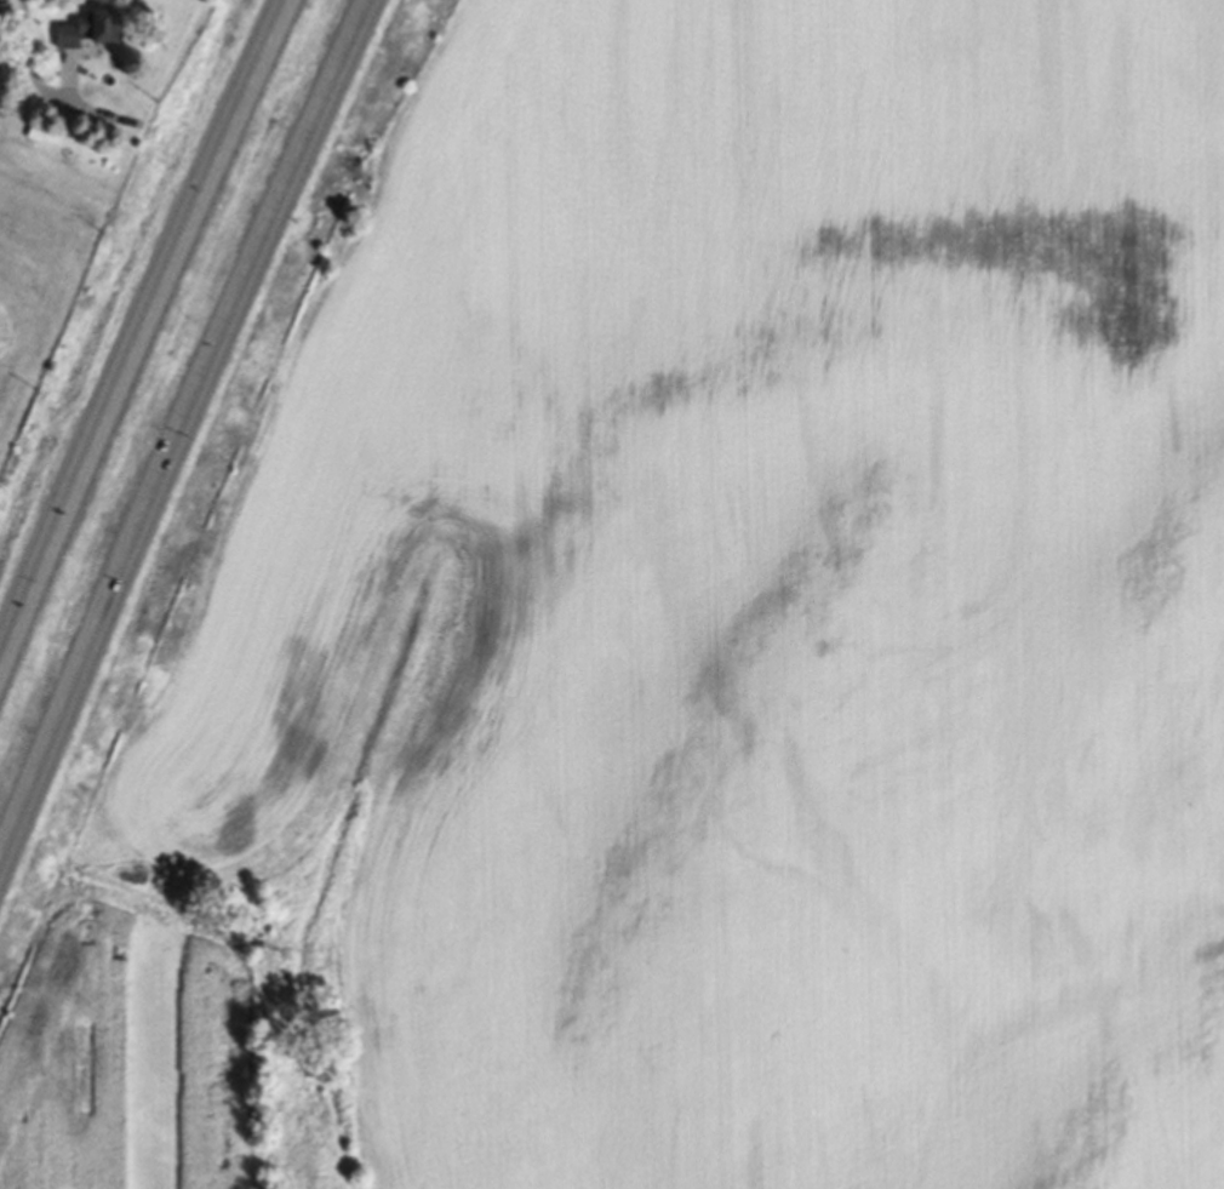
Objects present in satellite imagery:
building: (85, 30)
road: (29, 64)
road: (135, 321)
road: (179, 428)

